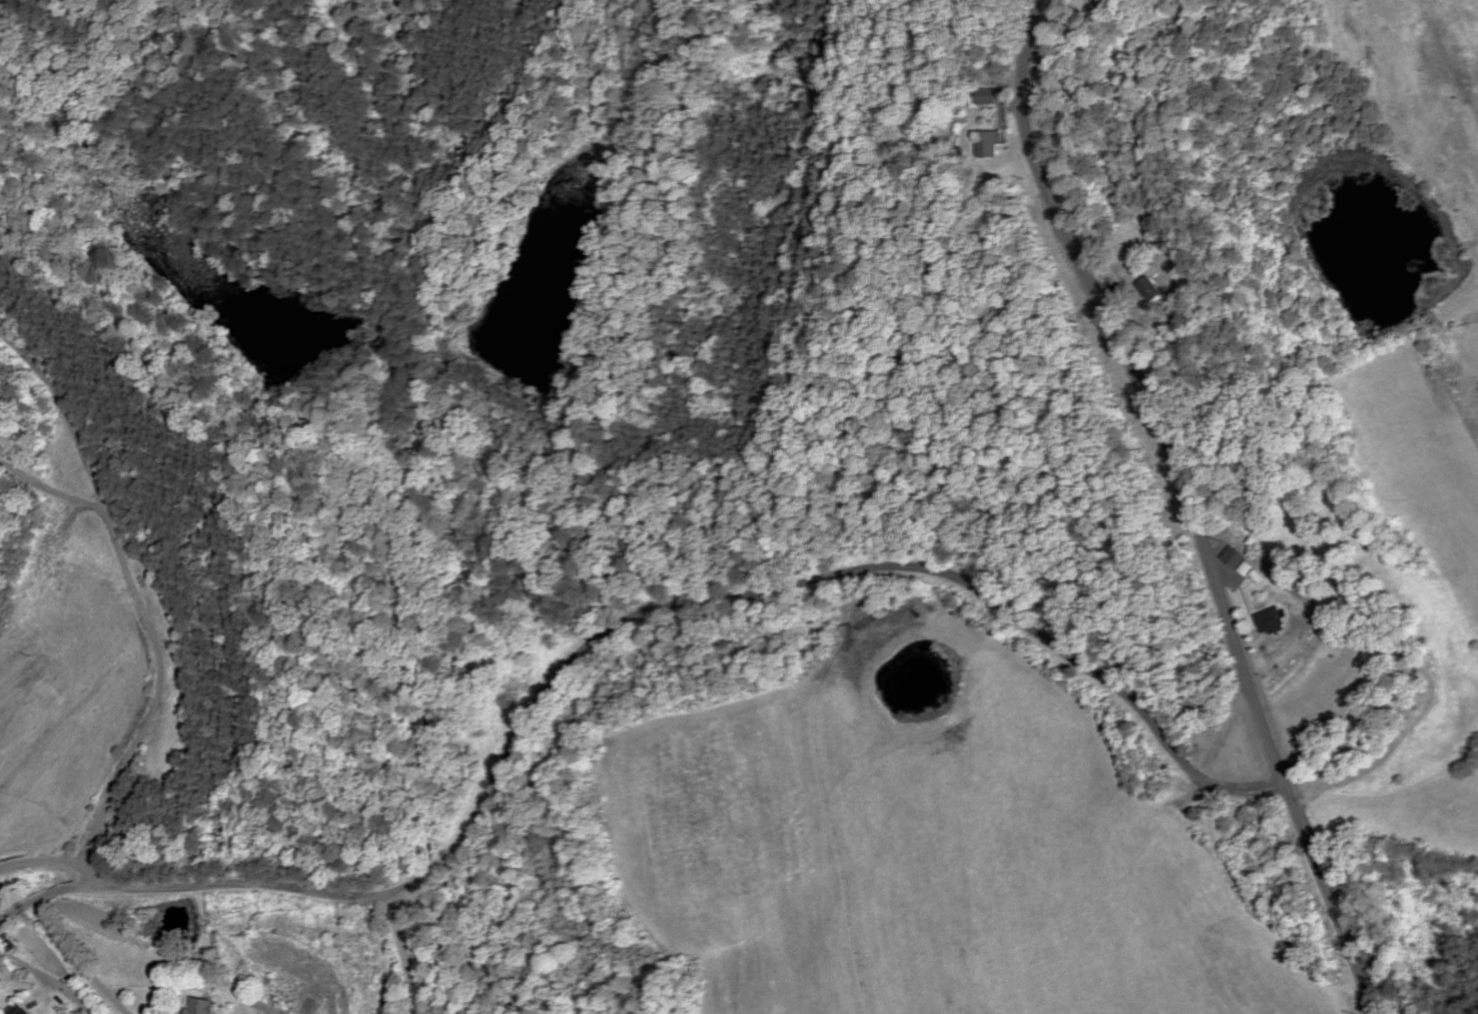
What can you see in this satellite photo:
building: (989, 144)
building: (1149, 290)
road: (1193, 503)
building: (1234, 559)
building: (1247, 570)
road: (617, 621)
building: (1271, 622)
road: (157, 643)
road: (403, 952)
road: (79, 962)
road: (48, 977)
building: (206, 1007)

